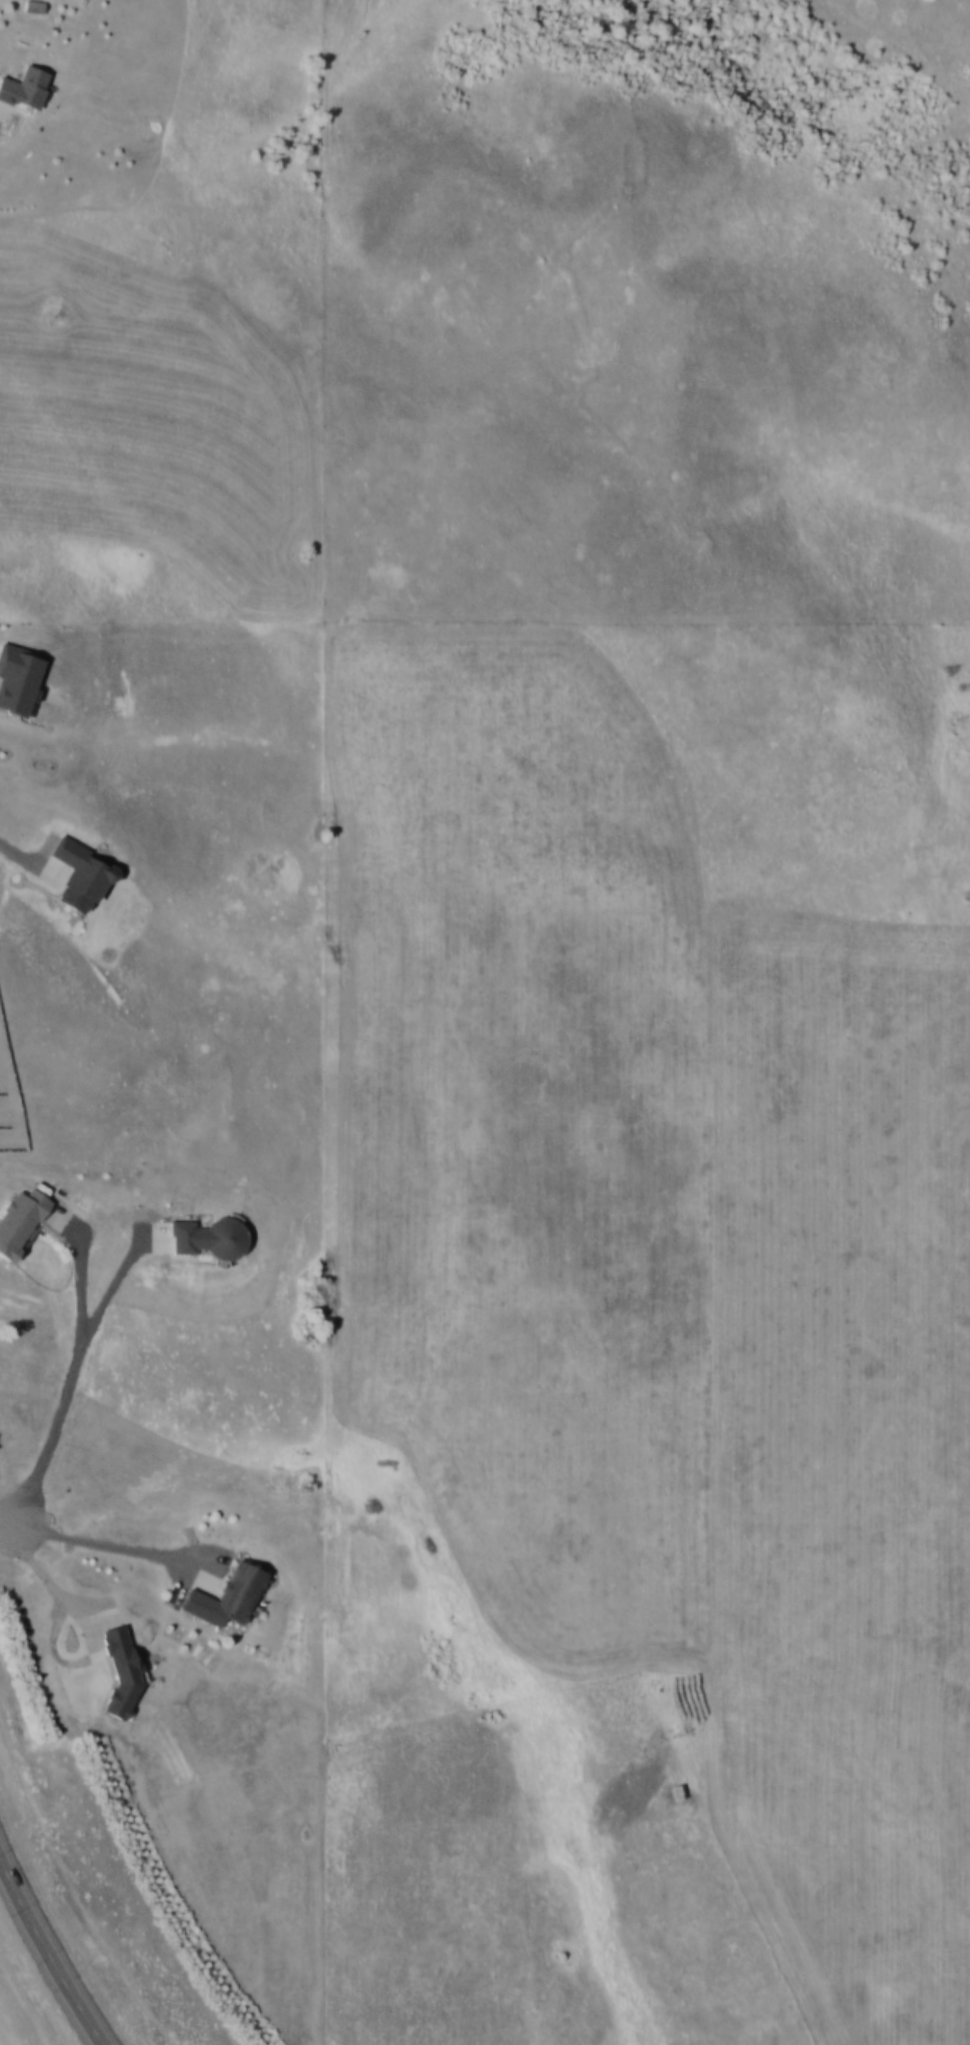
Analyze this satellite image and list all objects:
building: (35, 6)
building: (26, 87)
building: (19, 679)
road: (16, 837)
building: (82, 877)
building: (21, 1221)
building: (208, 1237)
road: (66, 1386)
building: (229, 1595)
building: (122, 1670)
road: (748, 1874)
road: (49, 1951)

